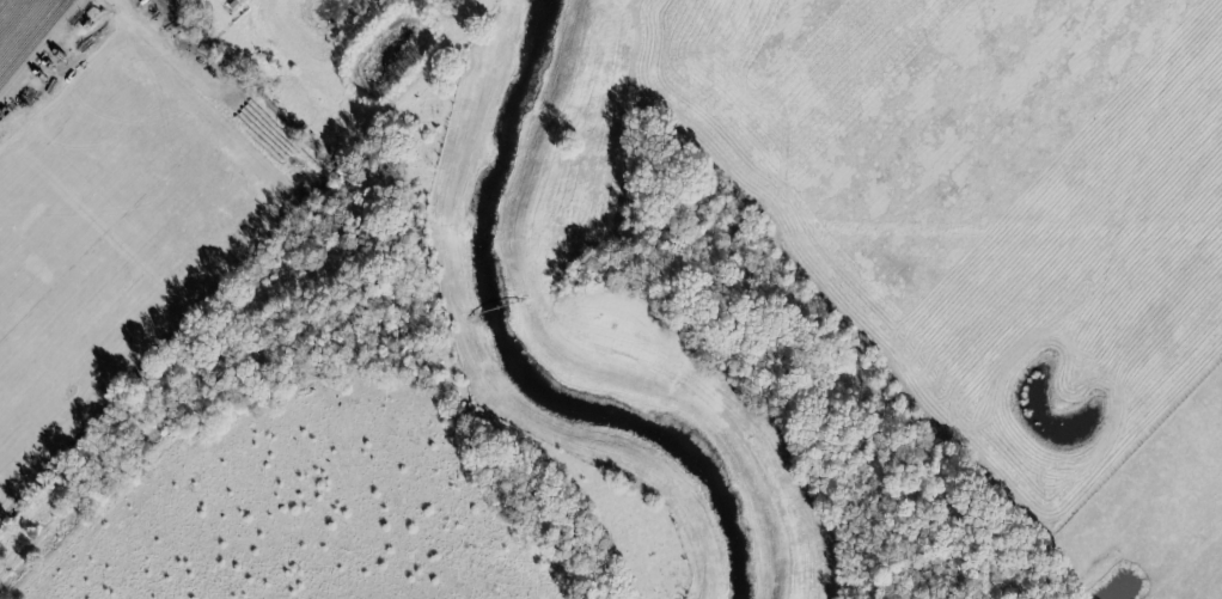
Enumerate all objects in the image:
road: (121, 1)

